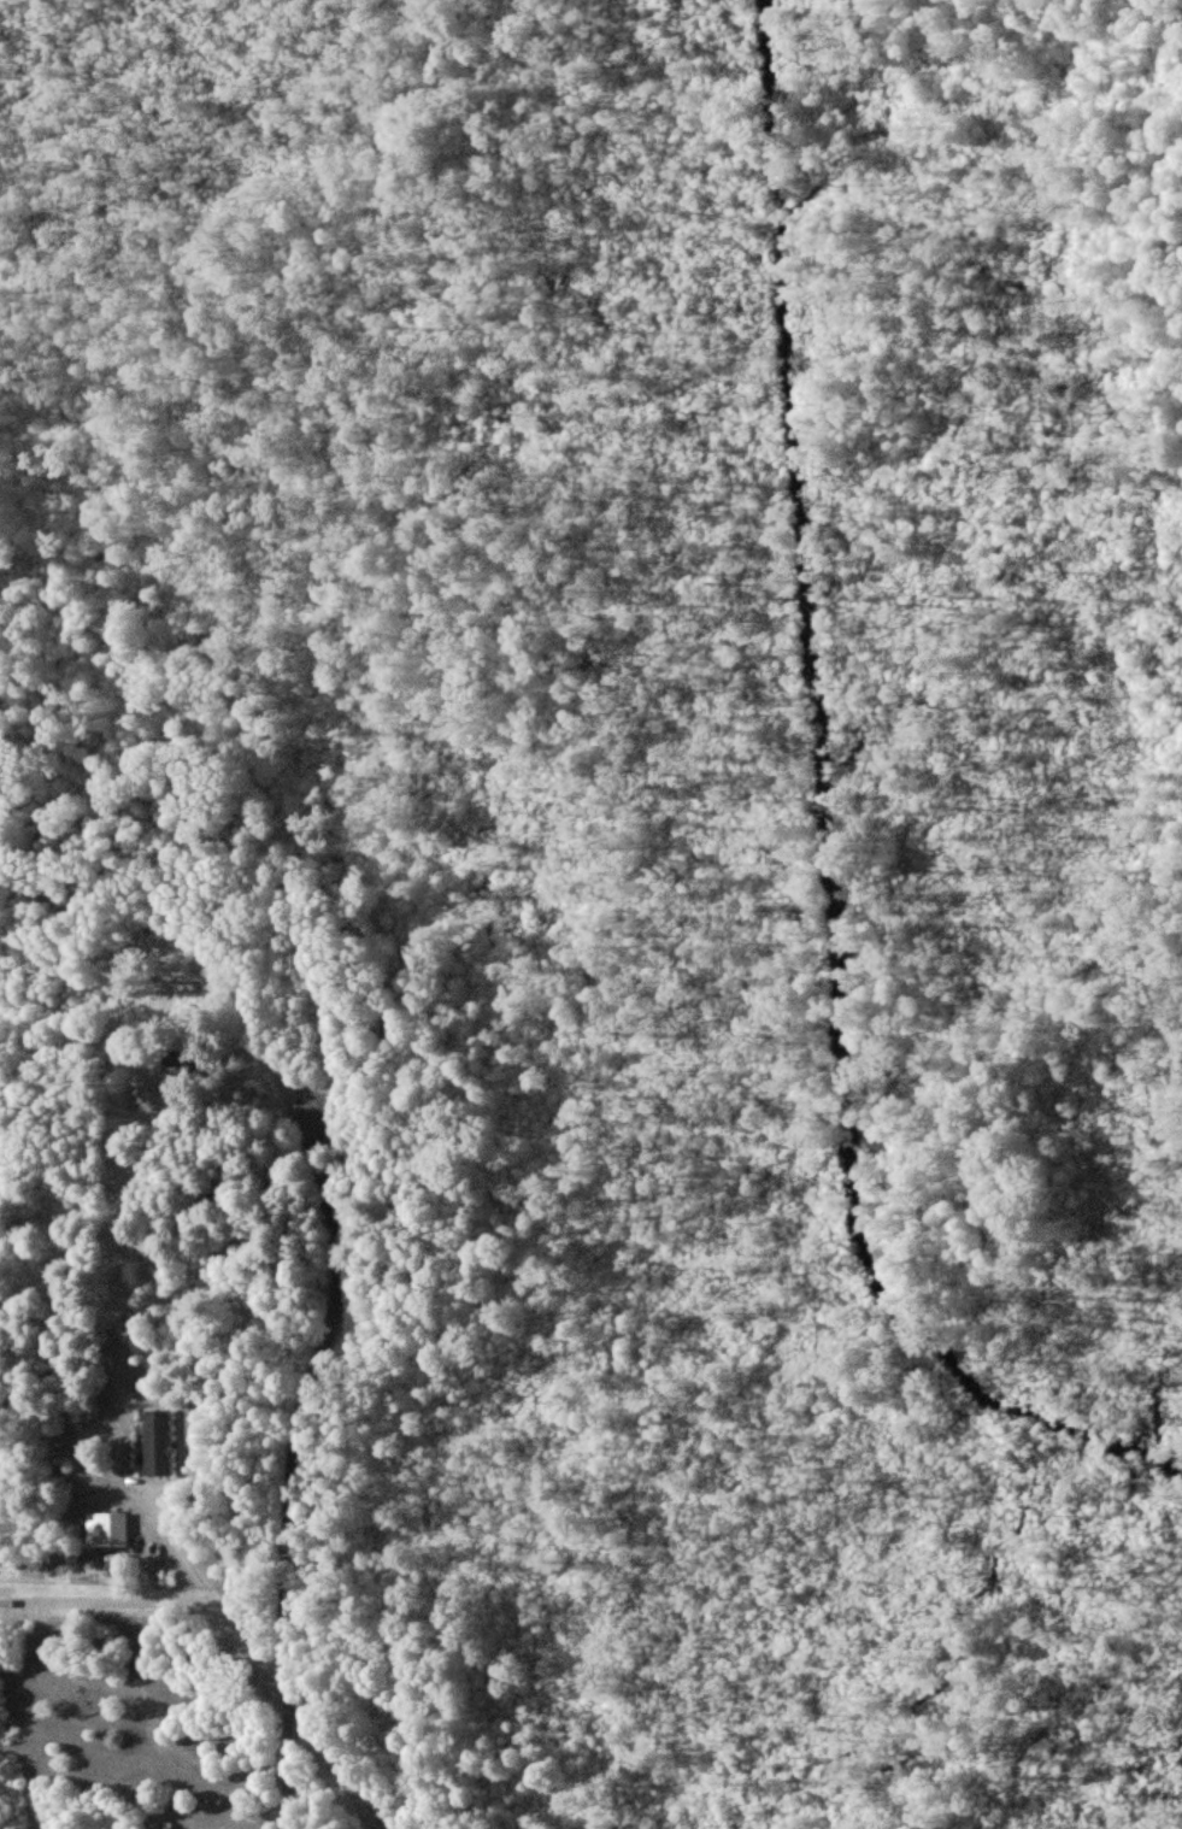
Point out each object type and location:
road: (295, 1418)
building: (158, 1442)
building: (106, 1529)

